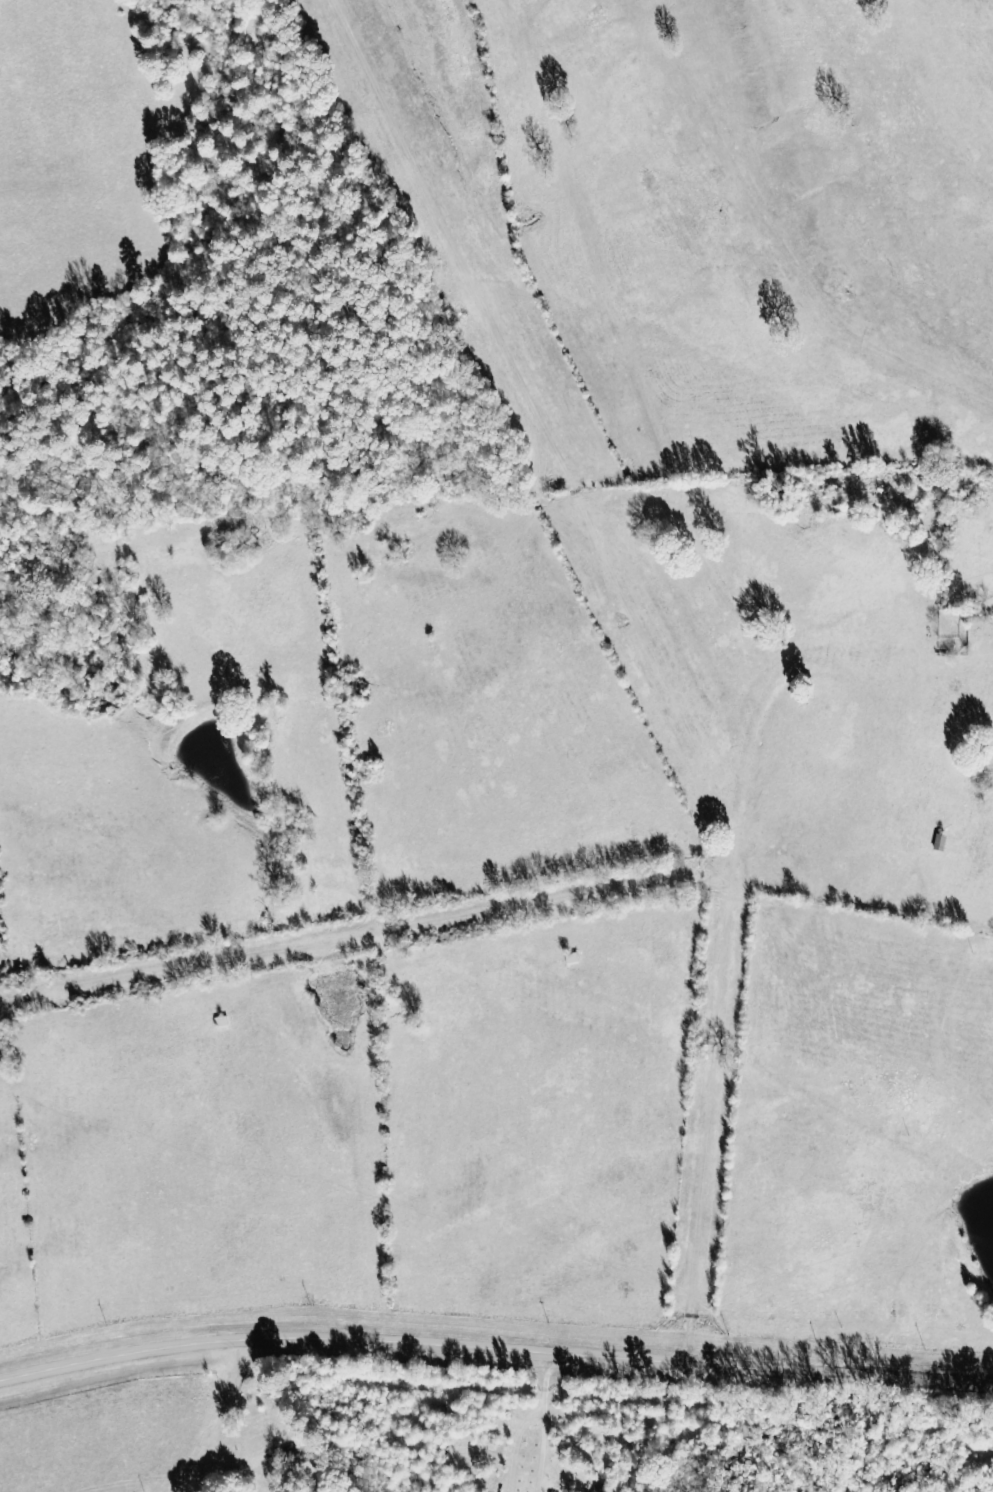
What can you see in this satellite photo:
road: (495, 1348)

